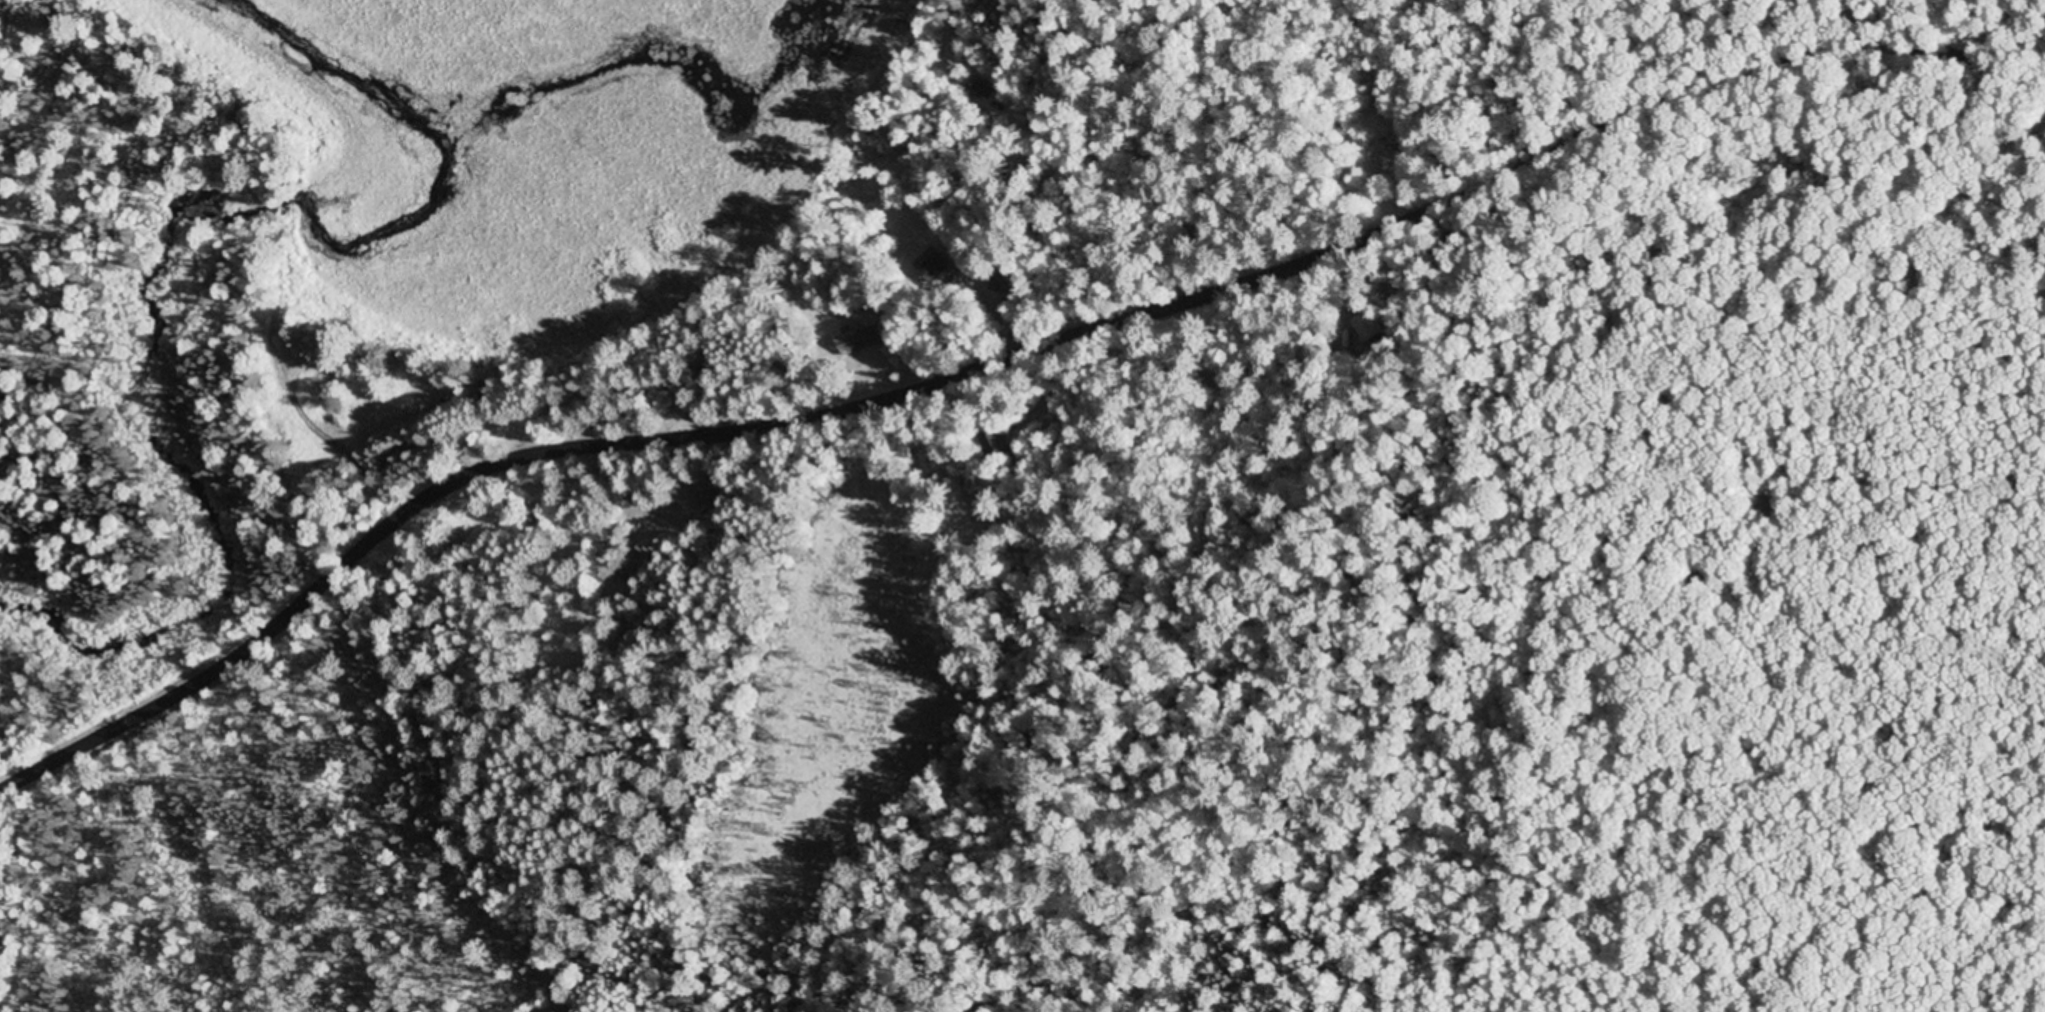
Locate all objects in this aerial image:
road: (1717, 81)
road: (1150, 161)
road: (1118, 209)
building: (936, 267)
building: (1349, 331)
building: (863, 337)
road: (667, 436)

